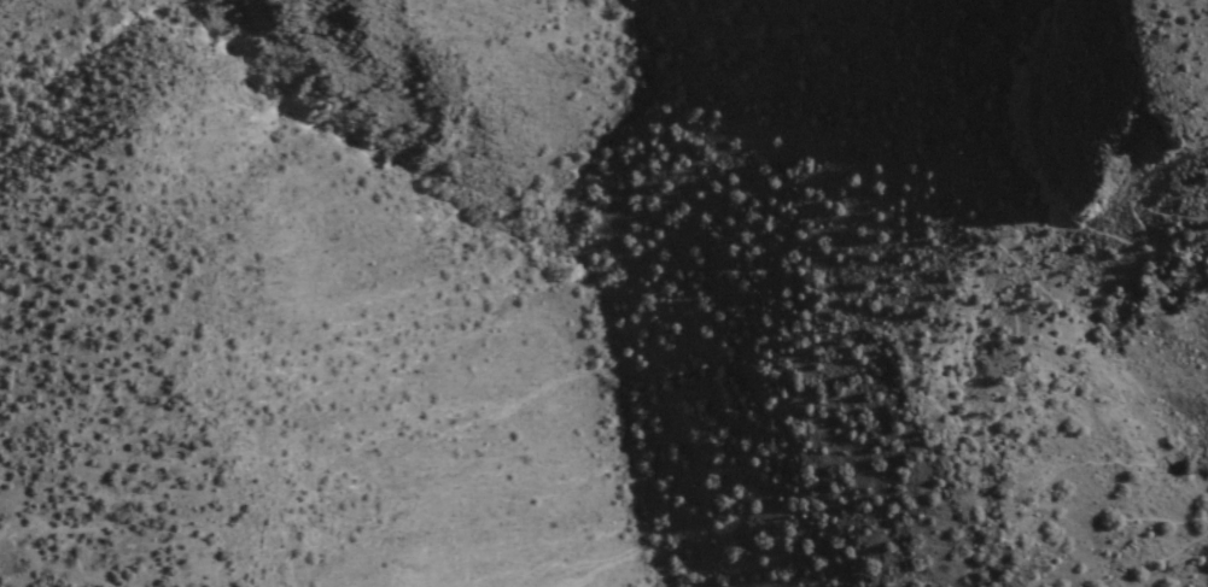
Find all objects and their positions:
road: (1019, 375)
road: (1174, 558)

